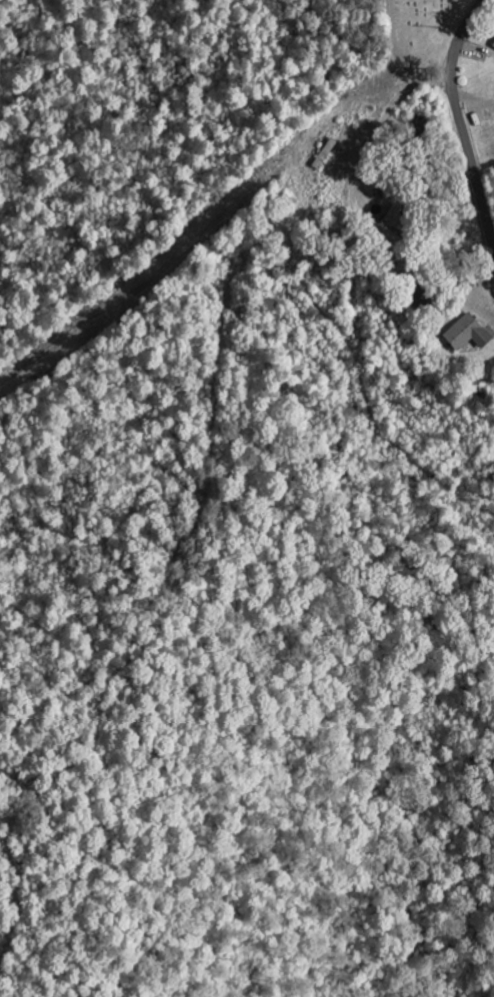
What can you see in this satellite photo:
road: (458, 125)
building: (400, 219)
building: (470, 334)

